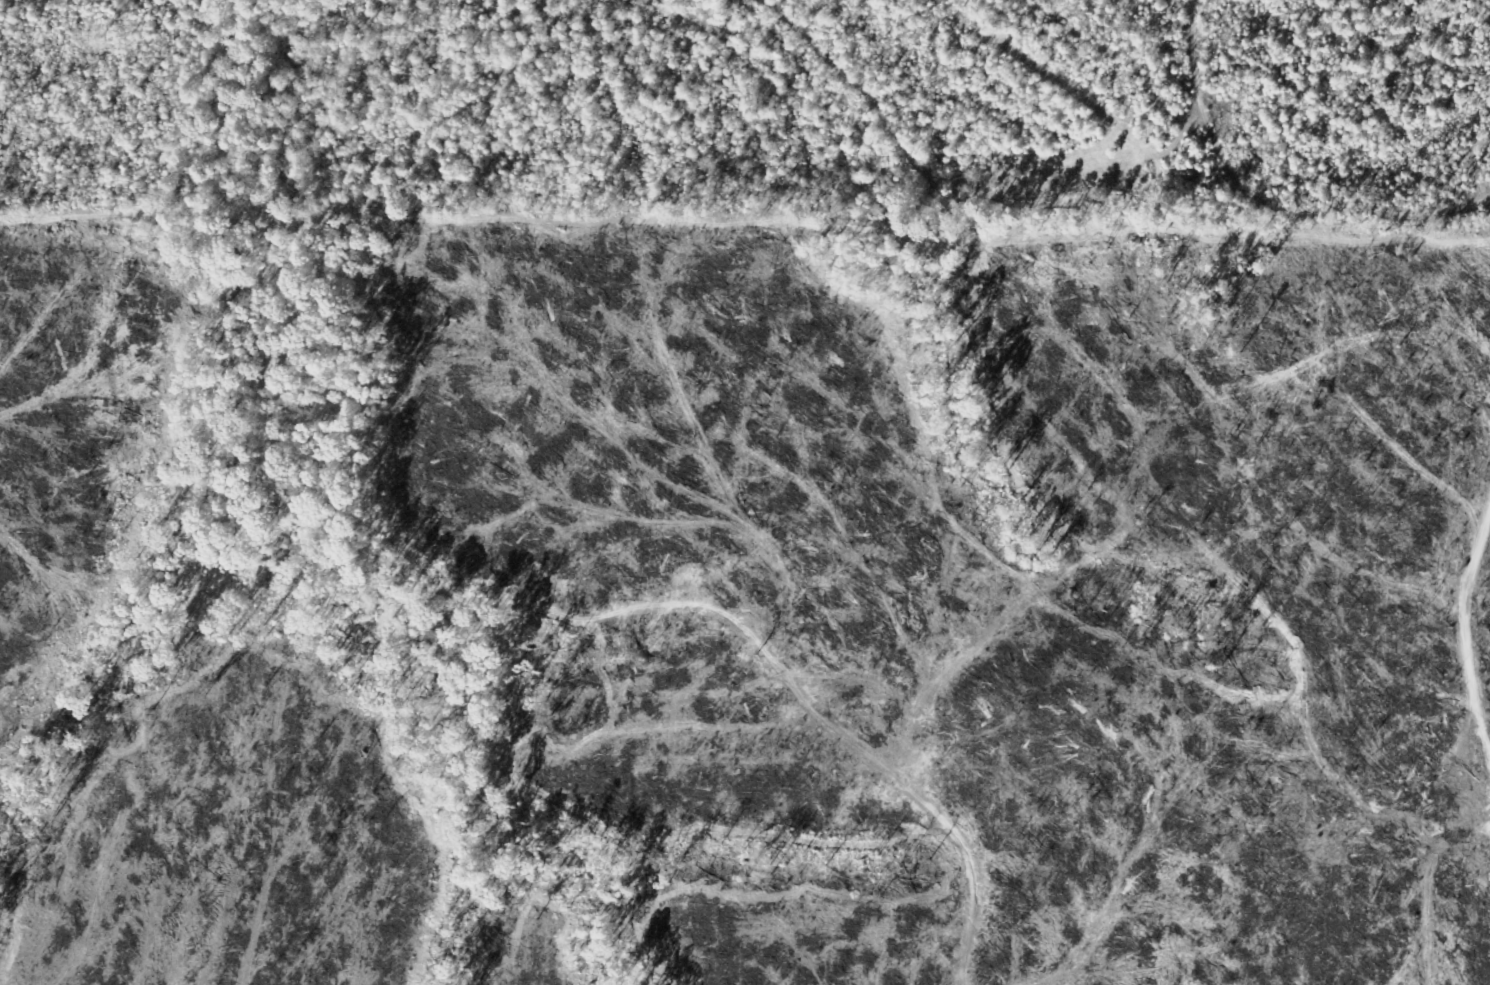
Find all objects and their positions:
road: (873, 738)

